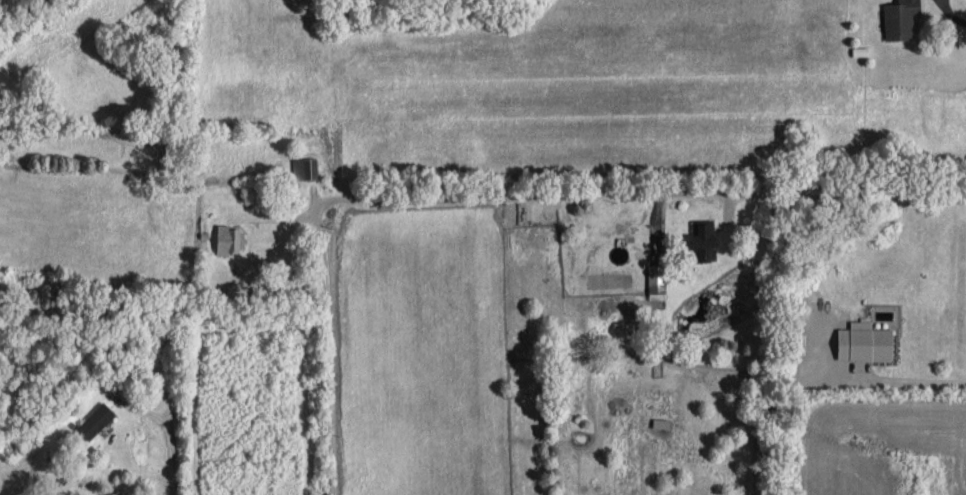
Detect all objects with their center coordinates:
building: (901, 17)
building: (305, 165)
road: (639, 193)
building: (227, 237)
building: (707, 239)
building: (657, 279)
building: (867, 339)
road: (330, 353)
building: (96, 418)

